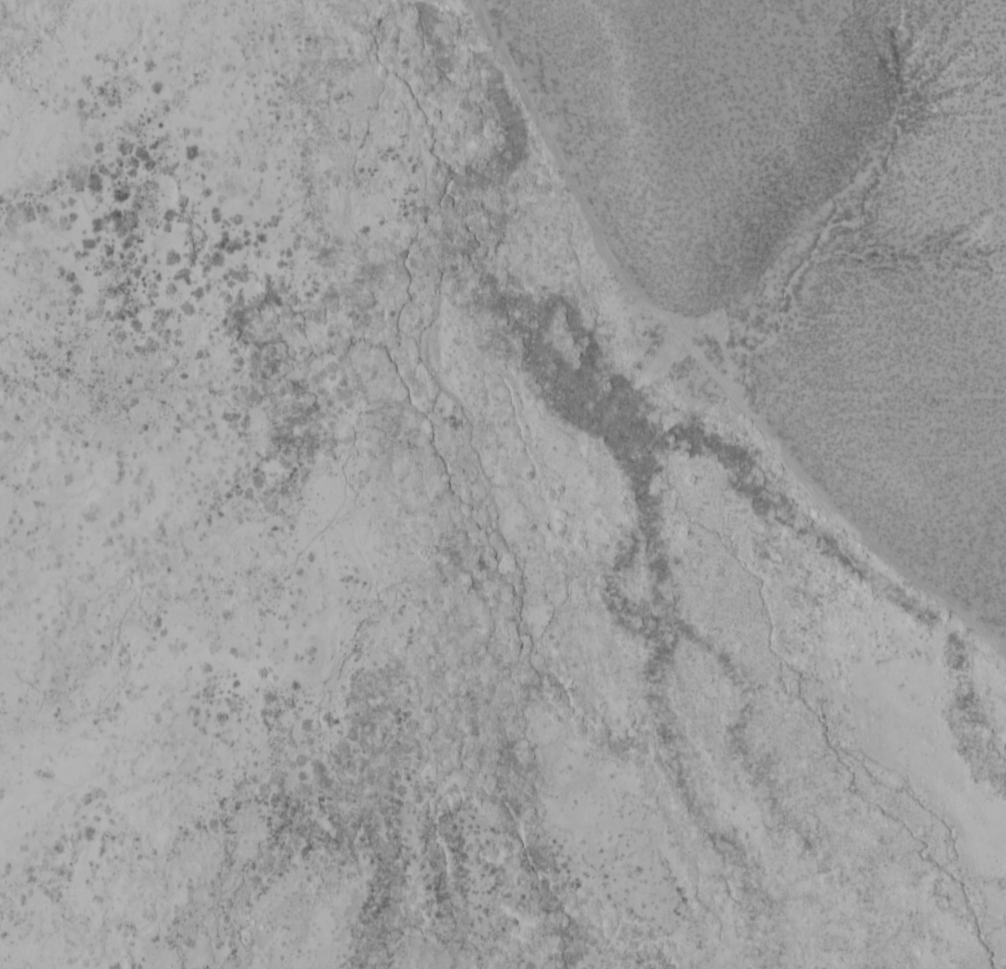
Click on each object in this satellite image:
river: (452, 480)

